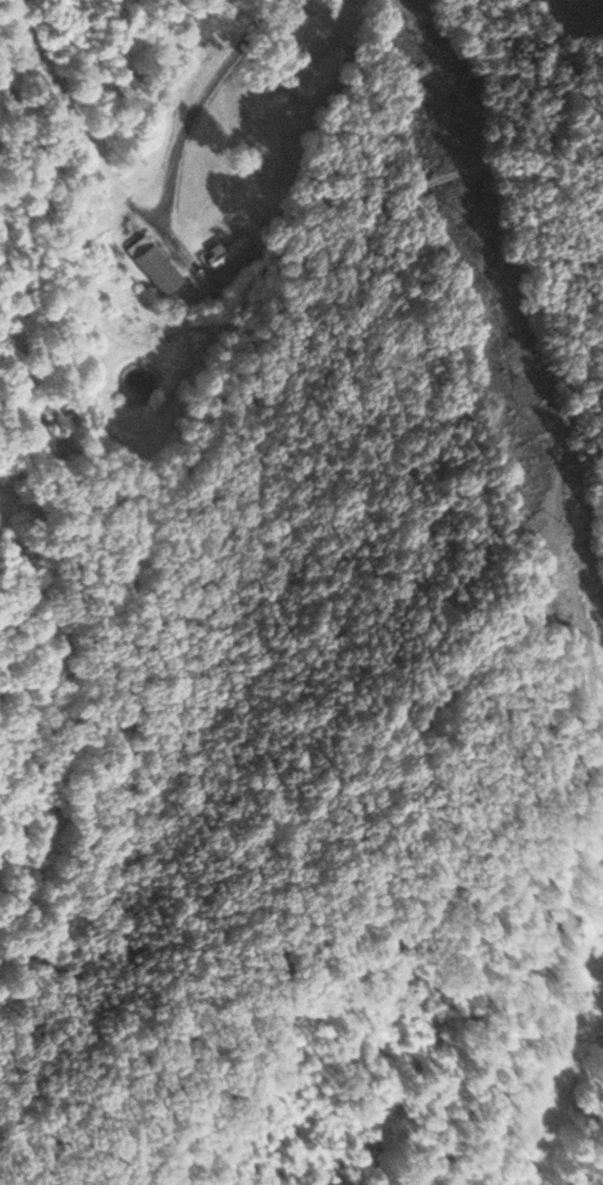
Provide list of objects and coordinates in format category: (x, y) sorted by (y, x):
road: (197, 104)
building: (162, 267)

